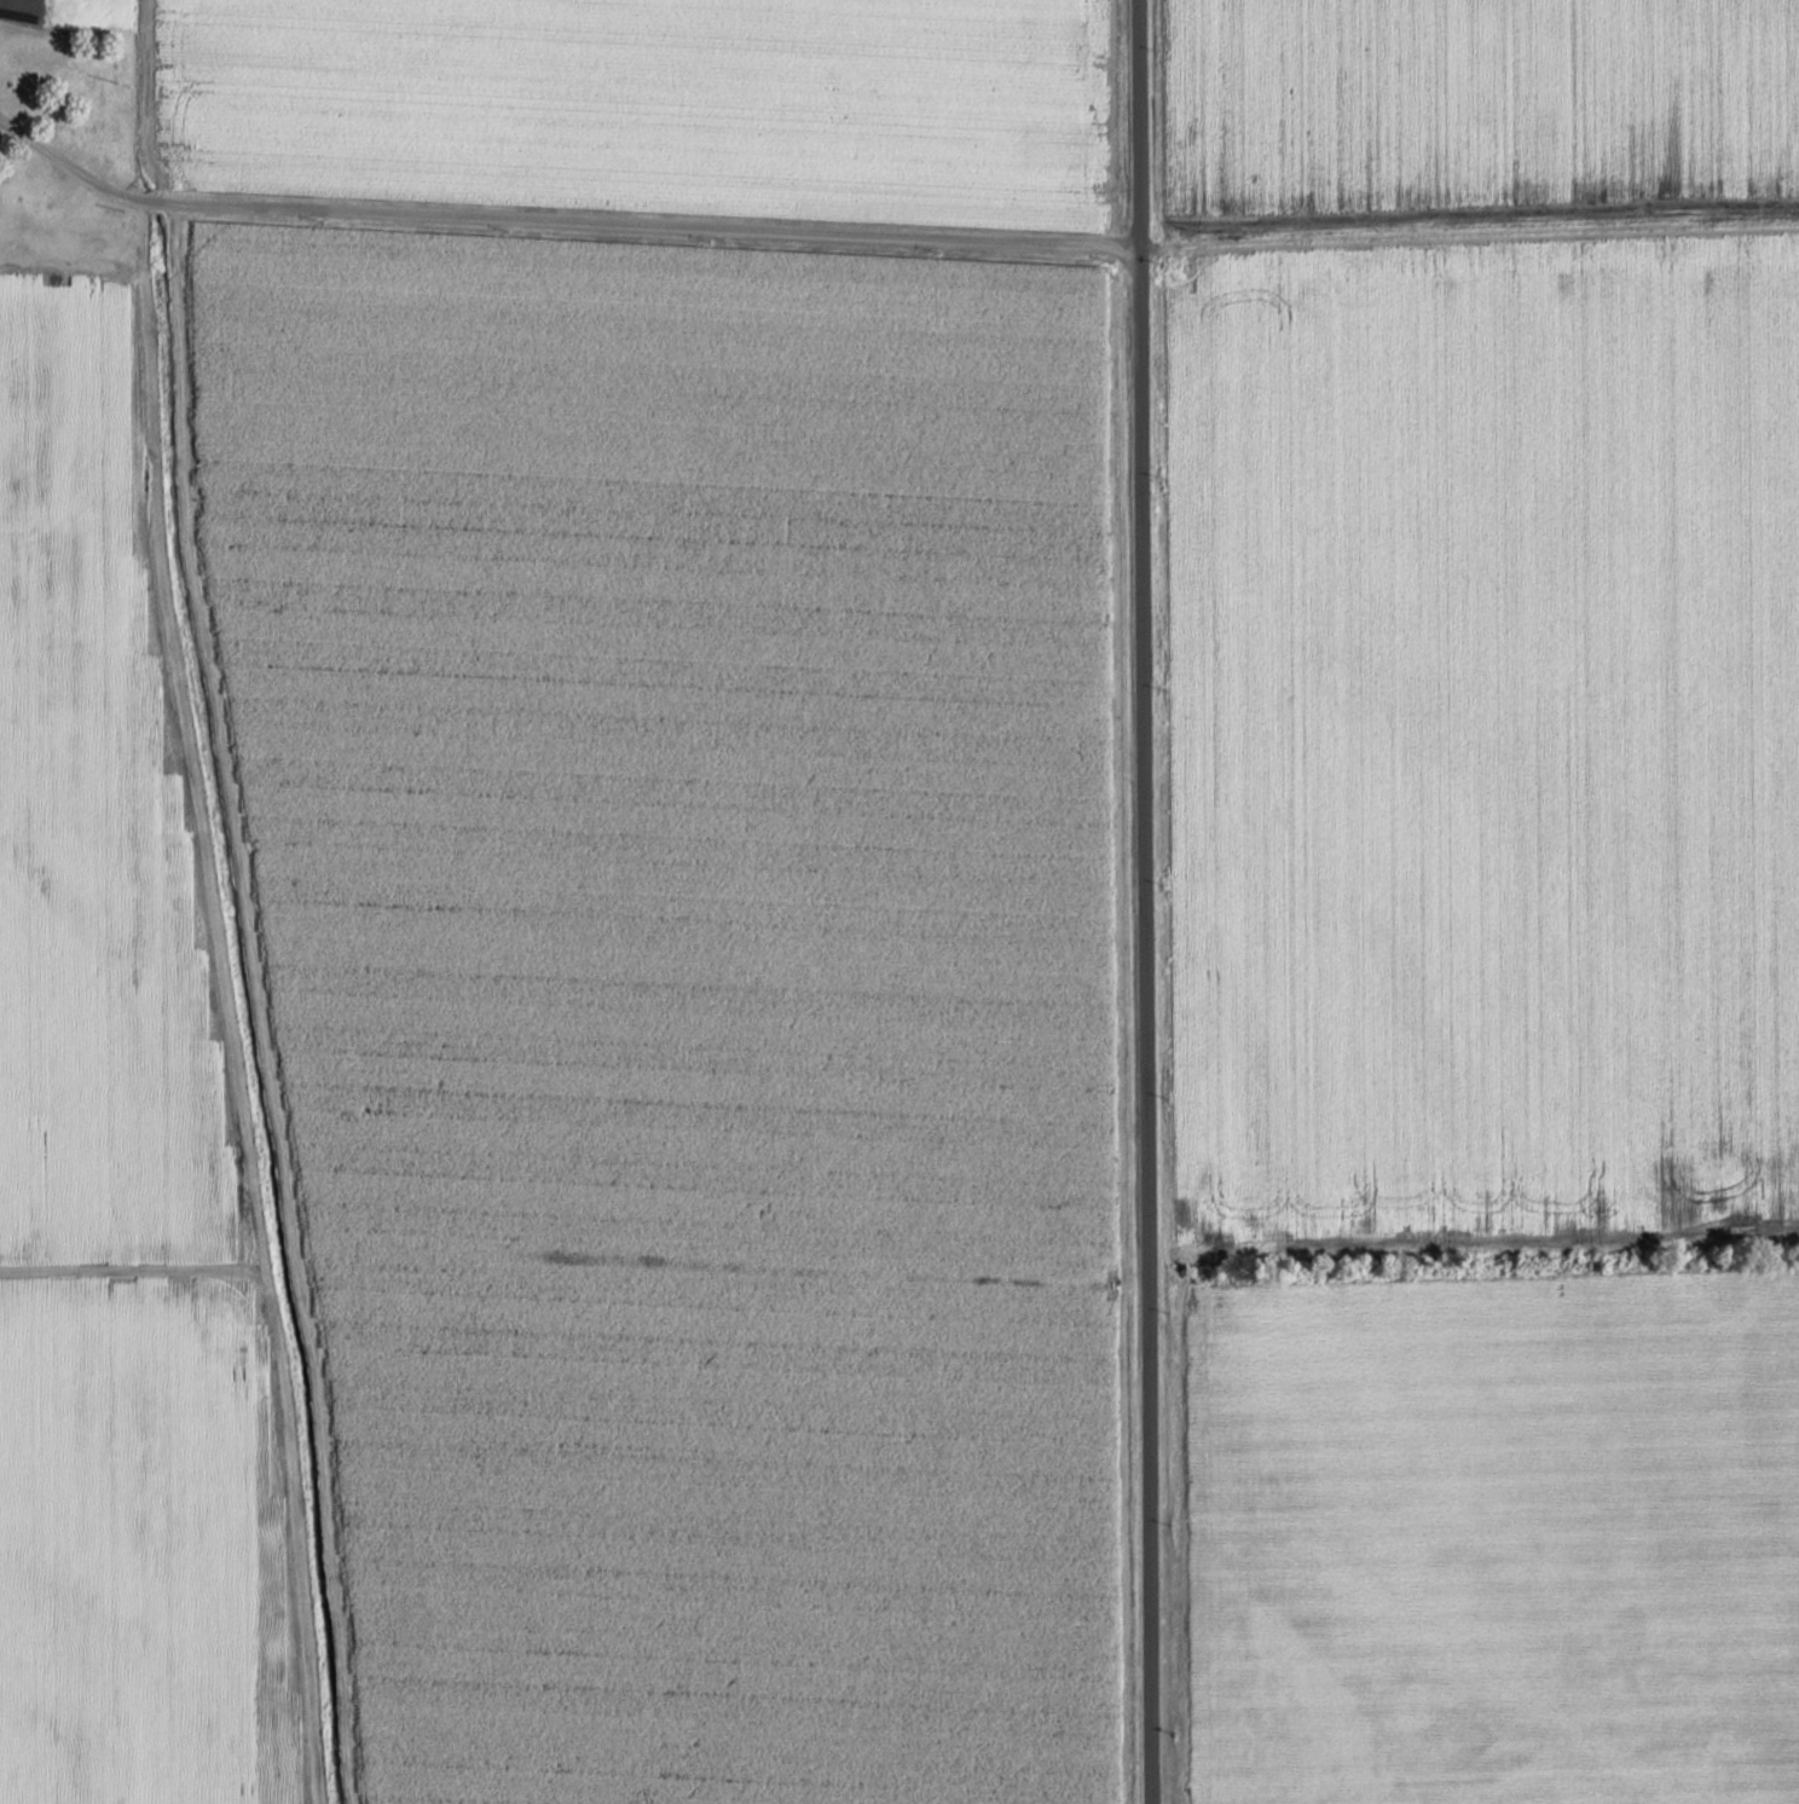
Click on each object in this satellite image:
road: (559, 218)
road: (1144, 901)

